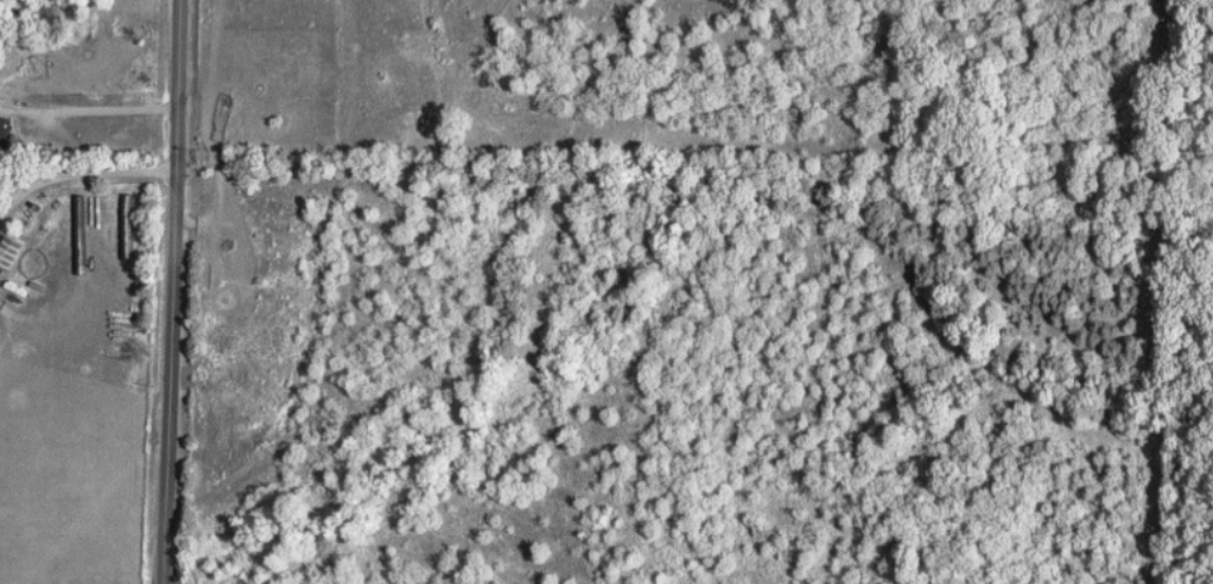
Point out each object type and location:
building: (6, 131)
road: (80, 180)
building: (12, 252)
road: (173, 292)

